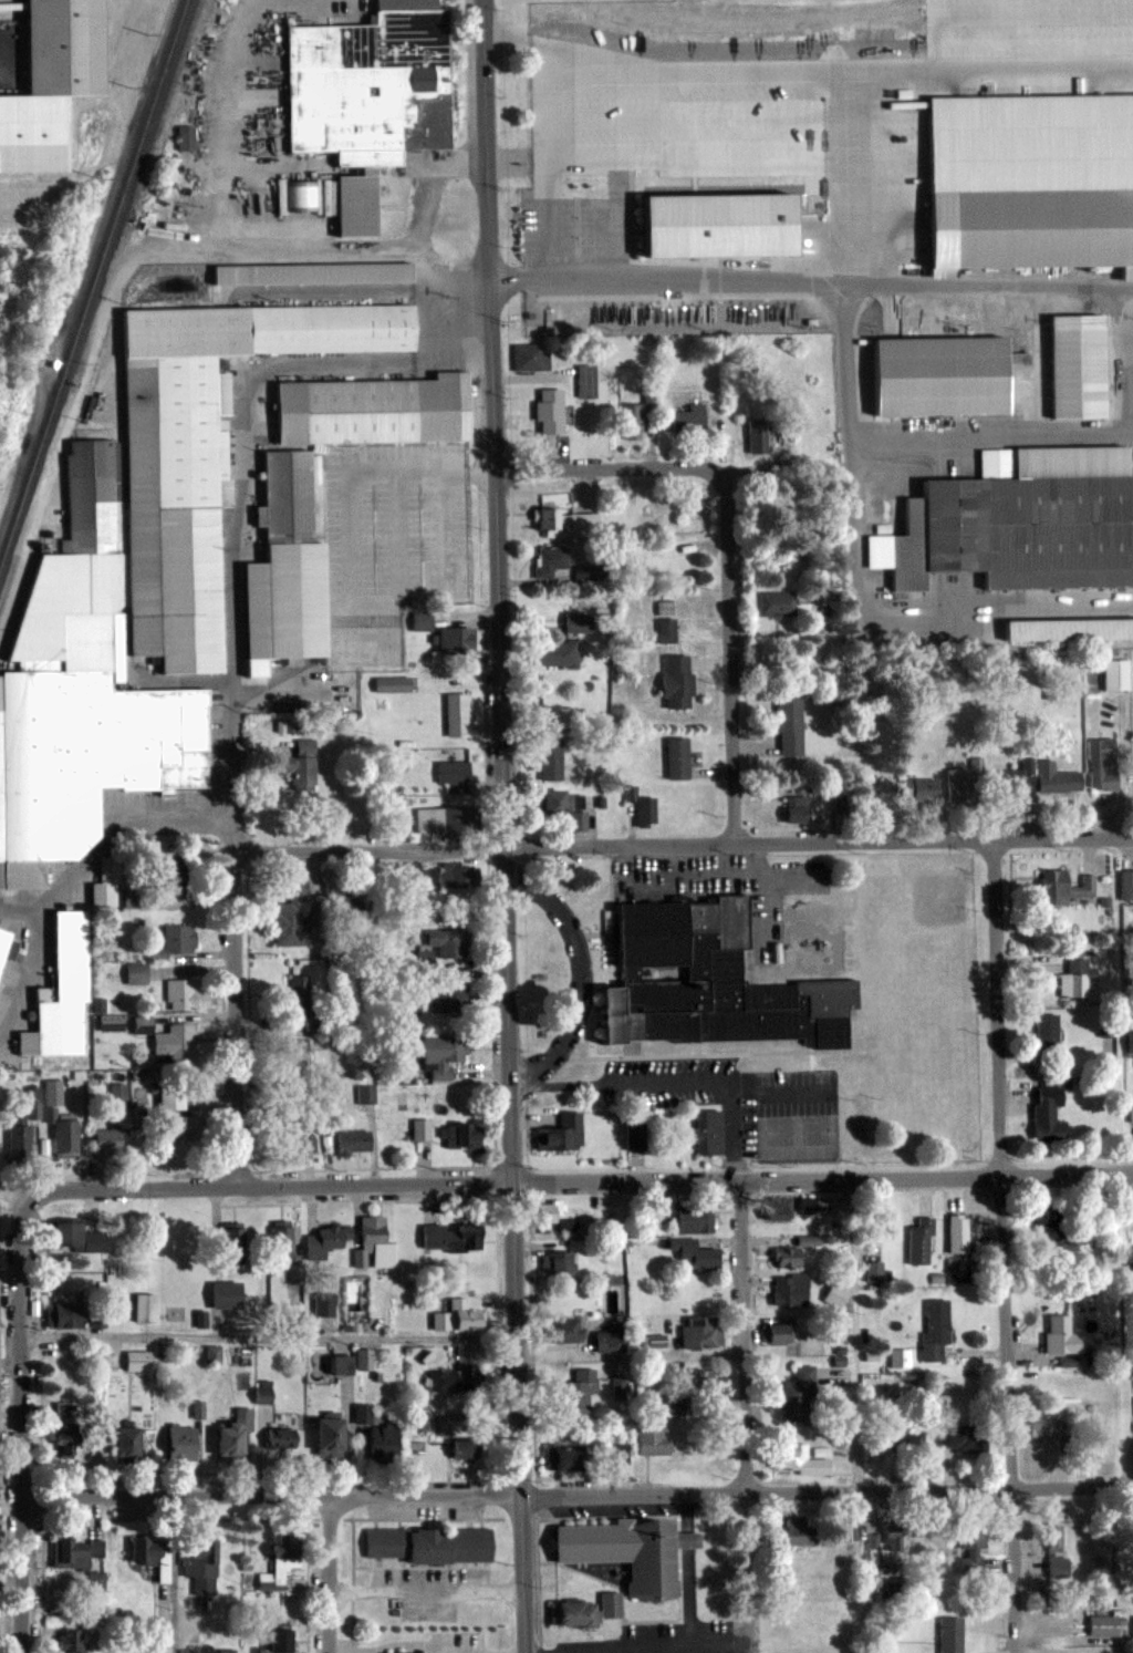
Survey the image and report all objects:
crop: (690, 2)
road: (1008, 16)
road: (839, 68)
building: (49, 81)
building: (367, 95)
road: (693, 120)
road: (551, 161)
road: (740, 162)
building: (1029, 179)
parking lot: (769, 190)
building: (715, 223)
road: (269, 247)
building: (311, 272)
road: (841, 283)
railway: (94, 286)
park: (29, 333)
road: (1129, 338)
building: (531, 357)
building: (1074, 364)
building: (937, 374)
building: (586, 379)
road: (243, 399)
building: (371, 410)
building: (552, 410)
building: (640, 415)
building: (689, 417)
road: (1059, 430)
road: (1130, 430)
building: (757, 434)
building: (202, 451)
road: (606, 469)
road: (351, 481)
building: (1019, 520)
building: (564, 521)
road: (854, 529)
parking lot: (389, 540)
building: (550, 560)
building: (283, 566)
building: (596, 574)
building: (778, 602)
building: (580, 623)
building: (1067, 628)
building: (665, 629)
building: (456, 640)
building: (555, 654)
road: (728, 655)
building: (1114, 674)
building: (676, 680)
building: (80, 693)
building: (458, 714)
building: (789, 726)
building: (551, 758)
building: (678, 758)
building: (1101, 763)
building: (301, 766)
building: (454, 776)
building: (1057, 777)
building: (1015, 778)
building: (958, 783)
building: (918, 788)
building: (551, 803)
building: (643, 805)
building: (796, 807)
building: (578, 819)
building: (447, 820)
road: (505, 826)
road: (682, 844)
road: (75, 871)
building: (169, 875)
building: (455, 876)
building: (1126, 882)
building: (107, 885)
parking lot: (721, 887)
building: (1063, 887)
park: (929, 901)
building: (297, 915)
road: (232, 926)
building: (180, 939)
building: (1075, 939)
building: (448, 942)
building: (7, 946)
road: (580, 973)
building: (1077, 978)
building: (709, 980)
building: (59, 992)
building: (181, 994)
building: (454, 996)
building: (298, 1002)
building: (1046, 1031)
building: (176, 1043)
building: (443, 1055)
building: (297, 1063)
road: (674, 1081)
building: (53, 1093)
building: (366, 1094)
building: (171, 1097)
parking lot: (740, 1099)
building: (1047, 1113)
building: (298, 1125)
building: (183, 1128)
building: (422, 1129)
building: (706, 1132)
building: (562, 1134)
building: (635, 1135)
building: (66, 1136)
building: (462, 1137)
building: (107, 1141)
building: (354, 1141)
building: (19, 1144)
road: (579, 1179)
building: (548, 1210)
building: (778, 1213)
building: (696, 1220)
building: (879, 1225)
building: (1049, 1226)
building: (66, 1233)
building: (958, 1233)
building: (453, 1238)
building: (809, 1239)
building: (330, 1240)
building: (921, 1240)
building: (233, 1241)
building: (95, 1242)
building: (282, 1242)
building: (377, 1242)
road: (1001, 1246)
building: (697, 1254)
building: (789, 1258)
building: (558, 1262)
building: (875, 1271)
building: (791, 1290)
building: (227, 1294)
building: (836, 1294)
building: (322, 1303)
building: (146, 1308)
building: (64, 1315)
building: (460, 1316)
building: (937, 1329)
building: (564, 1331)
building: (701, 1332)
building: (778, 1333)
road: (854, 1334)
building: (1059, 1334)
road: (742, 1335)
road: (269, 1336)
building: (611, 1341)
building: (212, 1354)
road: (631, 1356)
building: (901, 1357)
building: (138, 1360)
building: (457, 1378)
building: (703, 1378)
building: (579, 1391)
building: (800, 1394)
building: (675, 1405)
building: (363, 1420)
road: (19, 1425)
building: (445, 1426)
building: (1048, 1427)
building: (66, 1428)
building: (283, 1430)
building: (903, 1435)
building: (331, 1436)
building: (236, 1437)
building: (652, 1437)
building: (964, 1438)
building: (129, 1443)
building: (184, 1443)
building: (385, 1444)
building: (468, 1448)
building: (565, 1458)
building: (797, 1458)
road: (576, 1494)
road: (688, 1511)
building: (799, 1532)
building: (971, 1536)
building: (895, 1538)
building: (1051, 1538)
road: (689, 1539)
building: (432, 1544)
building: (631, 1552)
building: (76, 1553)
building: (153, 1557)
building: (282, 1560)
building: (204, 1568)
building: (1058, 1568)
road: (329, 1573)
road: (171, 1574)
road: (426, 1587)
parking lot: (422, 1591)
building: (611, 1605)
building: (574, 1614)
building: (1102, 1624)
building: (949, 1634)
building: (72, 1641)
building: (280, 1642)
road: (388, 1644)
parking lot: (448, 1645)
parking lot: (340, 1649)
road: (661, 1649)

